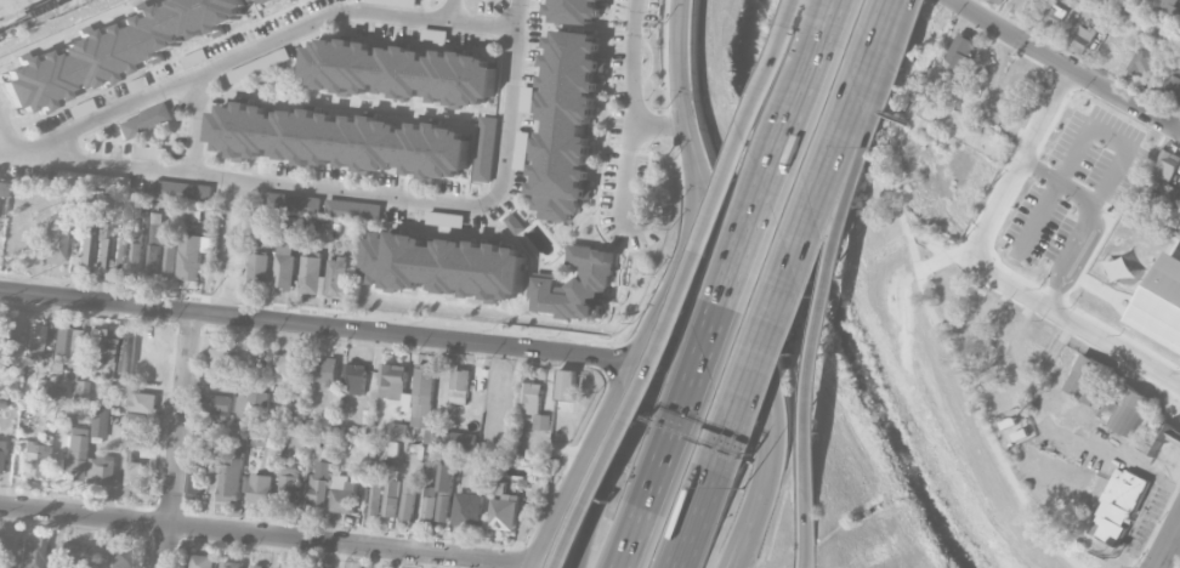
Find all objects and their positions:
building: (265, 0)
building: (294, 0)
building: (988, 0)
building: (1173, 5)
building: (577, 10)
building: (1054, 15)
road: (482, 22)
building: (1083, 36)
building: (114, 50)
building: (958, 53)
road: (632, 59)
road: (228, 61)
building: (1147, 61)
road: (1061, 64)
building: (402, 72)
building: (1172, 80)
building: (527, 97)
road: (686, 107)
road: (663, 119)
building: (144, 120)
road: (2, 123)
road: (197, 123)
building: (567, 124)
building: (341, 140)
road: (1125, 143)
building: (484, 148)
building: (520, 149)
building: (148, 152)
road: (1019, 163)
road: (624, 166)
building: (1165, 166)
road: (770, 176)
building: (92, 180)
building: (2, 189)
building: (183, 189)
road: (367, 194)
road: (818, 194)
building: (291, 201)
building: (352, 209)
building: (294, 222)
building: (515, 222)
building: (86, 227)
road: (838, 238)
building: (53, 239)
building: (157, 242)
building: (102, 245)
road: (233, 245)
building: (119, 246)
building: (84, 250)
building: (193, 254)
road: (940, 256)
building: (136, 257)
building: (171, 260)
building: (444, 265)
building: (285, 266)
building: (260, 268)
building: (312, 273)
building: (339, 276)
road: (665, 280)
building: (577, 286)
road: (690, 288)
road: (679, 290)
road: (924, 299)
building: (1162, 303)
road: (1073, 319)
road: (316, 323)
building: (1000, 325)
building: (5, 335)
building: (35, 339)
building: (103, 345)
building: (66, 346)
building: (1032, 348)
building: (124, 354)
building: (221, 363)
building: (284, 367)
building: (324, 370)
building: (4, 373)
building: (356, 376)
building: (1085, 376)
building: (393, 380)
building: (566, 384)
building: (460, 385)
building: (80, 387)
building: (40, 388)
road: (766, 388)
building: (56, 391)
building: (424, 397)
building: (141, 401)
building: (216, 402)
building: (250, 402)
building: (534, 404)
building: (1131, 411)
building: (222, 415)
building: (296, 416)
building: (97, 422)
building: (397, 431)
building: (259, 433)
building: (452, 438)
road: (178, 439)
building: (297, 441)
building: (1150, 442)
building: (70, 447)
building: (0, 450)
building: (33, 458)
road: (659, 460)
road: (577, 461)
road: (603, 462)
building: (131, 470)
building: (97, 471)
building: (197, 473)
building: (231, 477)
road: (709, 478)
building: (289, 484)
building: (319, 484)
building: (259, 488)
building: (444, 492)
building: (344, 494)
building: (391, 498)
building: (408, 499)
building: (430, 504)
building: (1118, 506)
building: (467, 509)
building: (504, 512)
road: (805, 523)
road: (263, 536)
road: (1169, 545)
building: (4, 550)
building: (30, 552)
building: (73, 552)
building: (120, 557)
building: (203, 561)
building: (229, 563)
road: (1168, 564)
building: (256, 566)
building: (276, 567)
road: (1158, 567)

